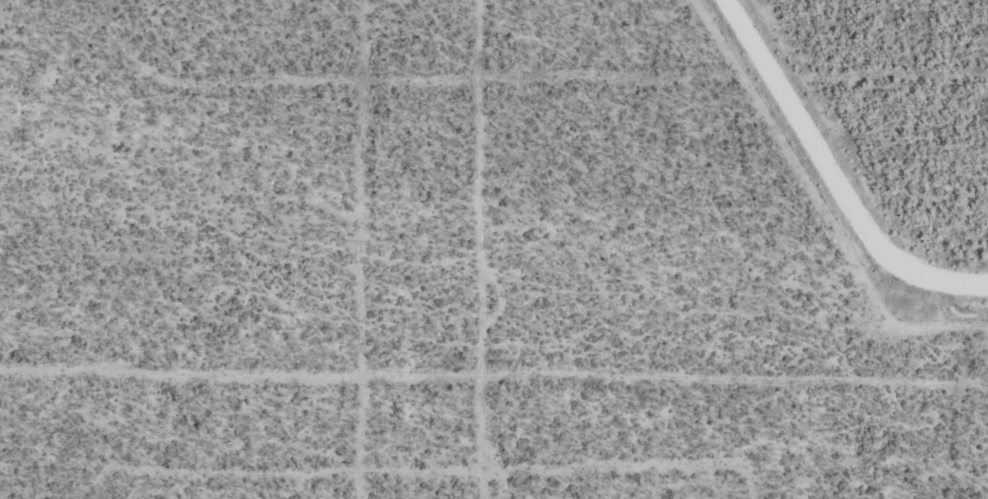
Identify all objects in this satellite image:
road: (831, 176)

